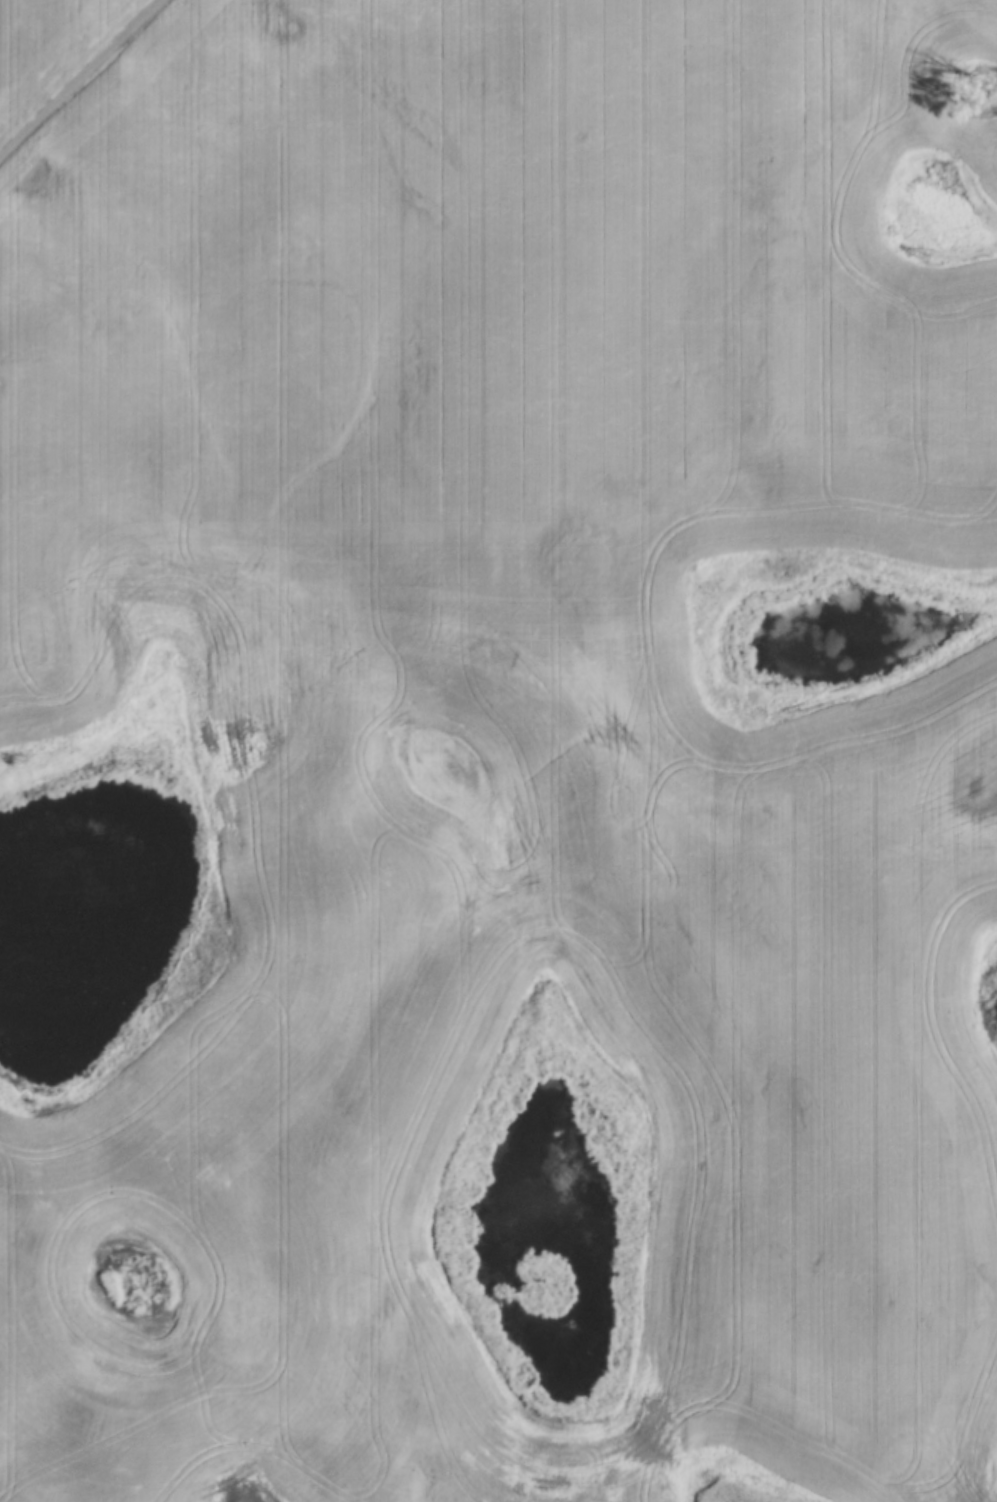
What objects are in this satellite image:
road: (75, 74)

